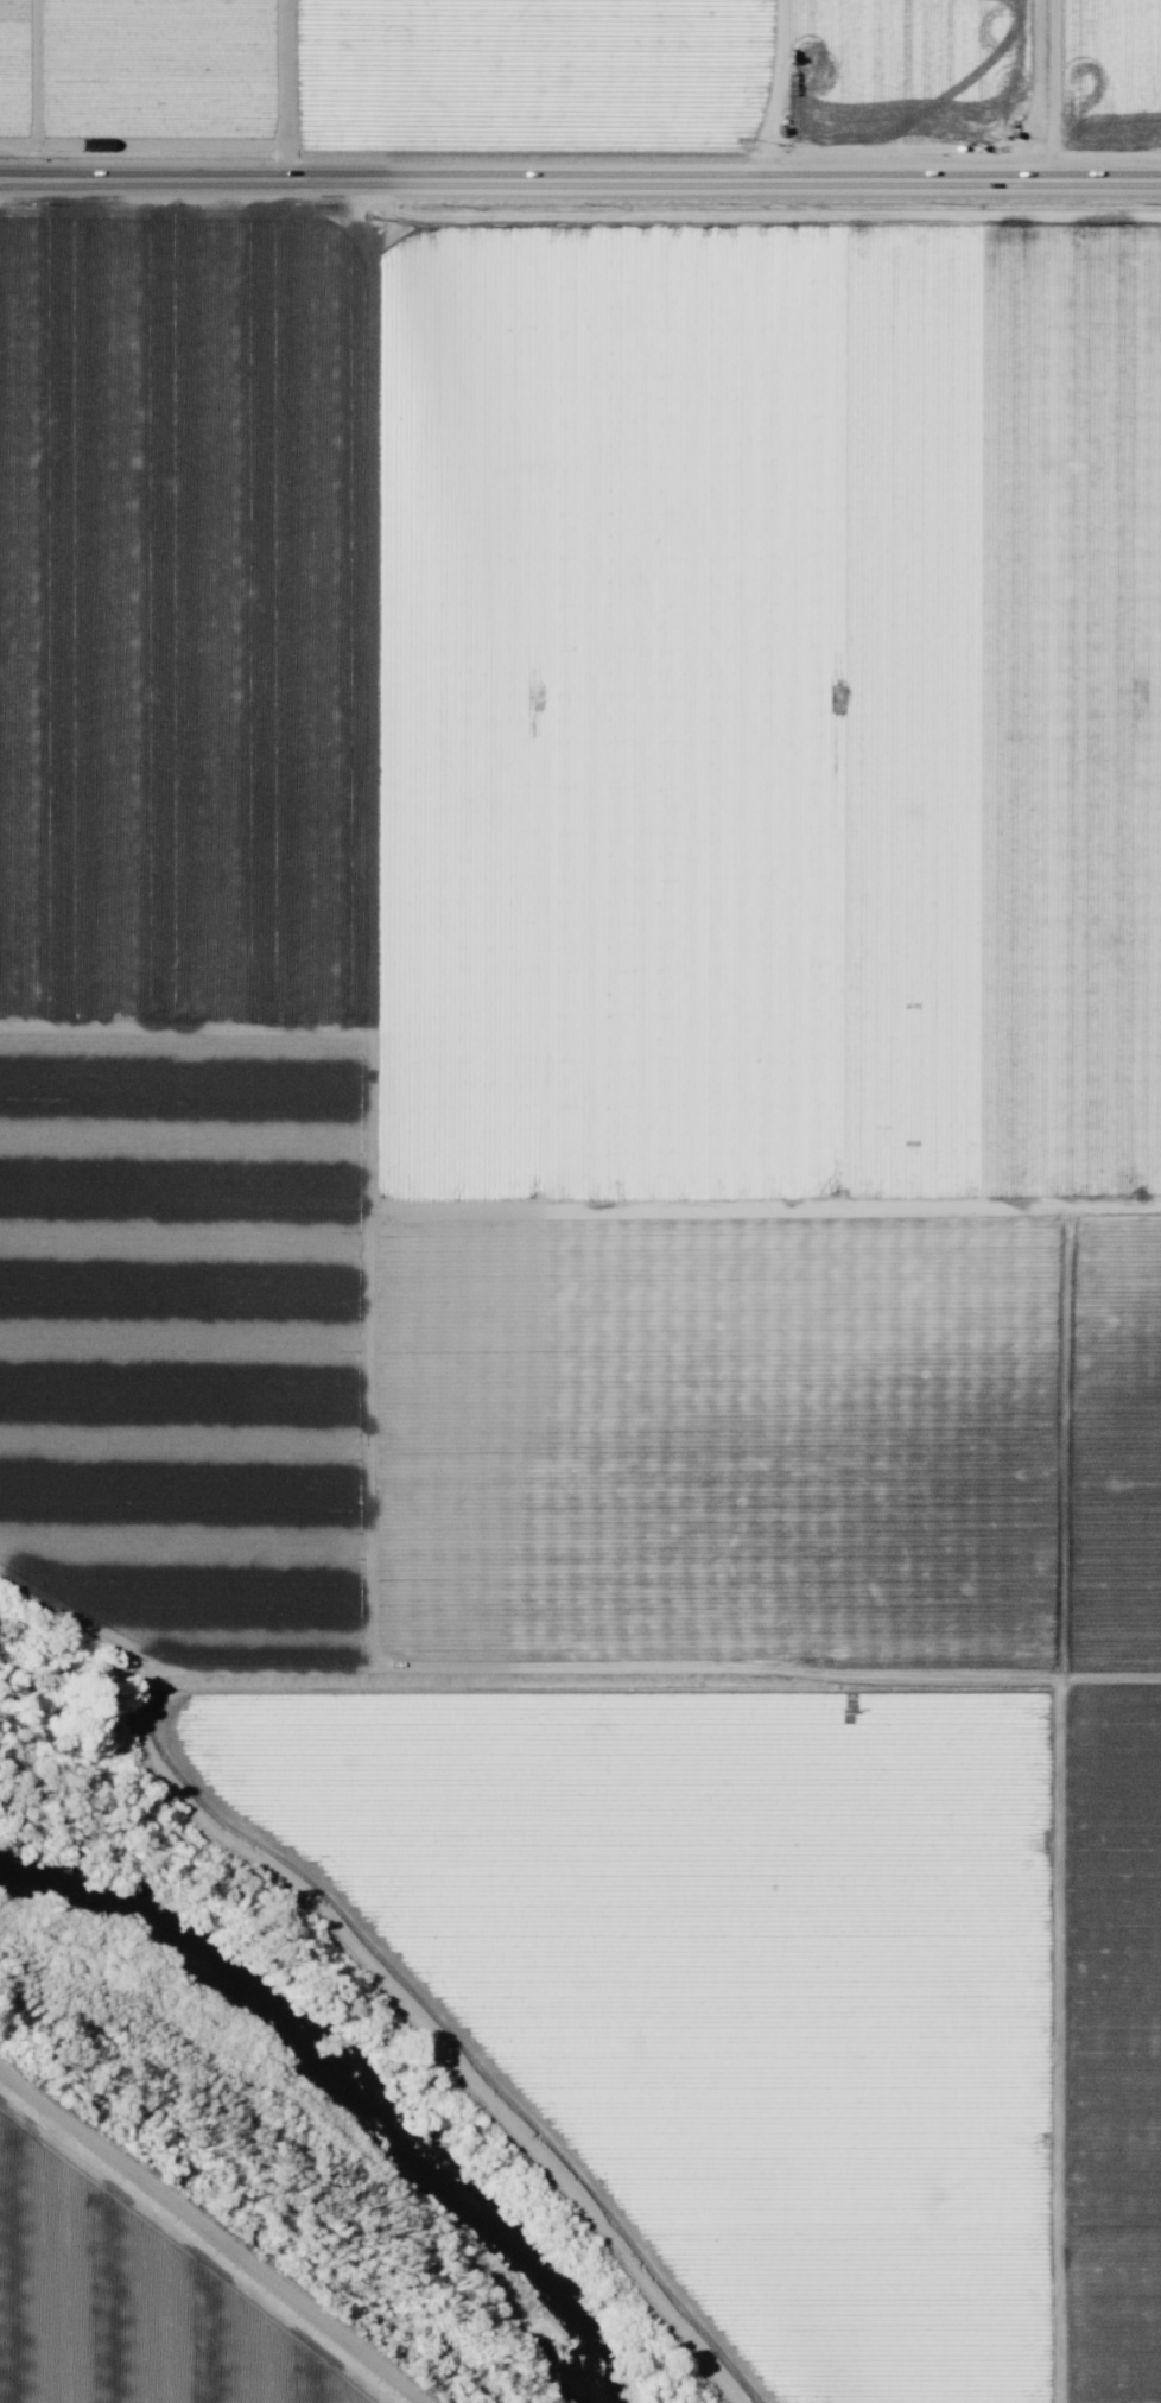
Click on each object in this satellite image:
crop: (582, 71)
road: (579, 183)
crop: (624, 1210)
road: (760, 1211)
road: (357, 1318)
crop: (140, 2272)

